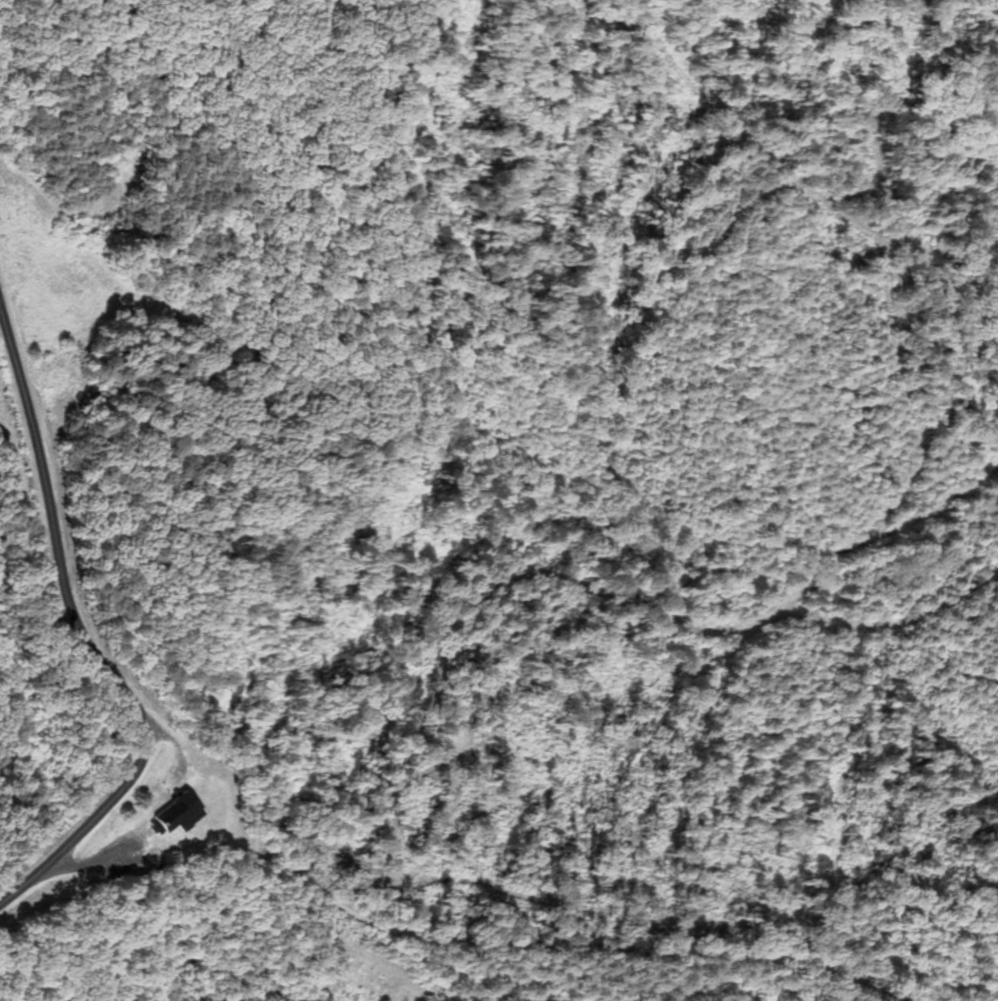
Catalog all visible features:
road: (39, 458)
road: (134, 772)
building: (176, 813)
road: (465, 939)

